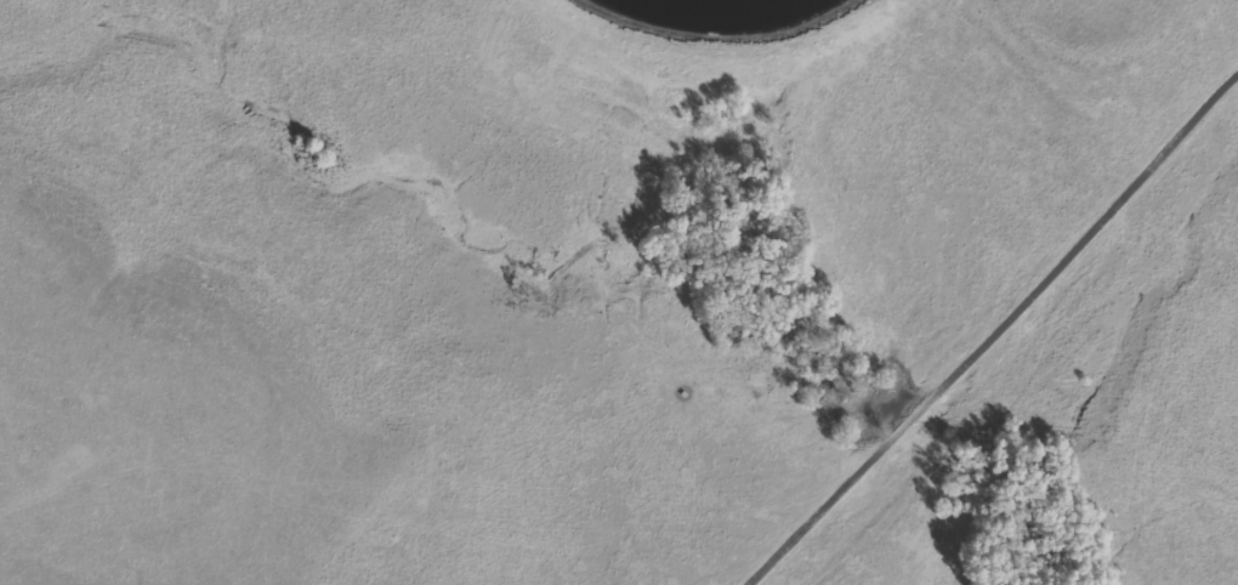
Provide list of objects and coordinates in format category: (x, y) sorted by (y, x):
road: (983, 334)

